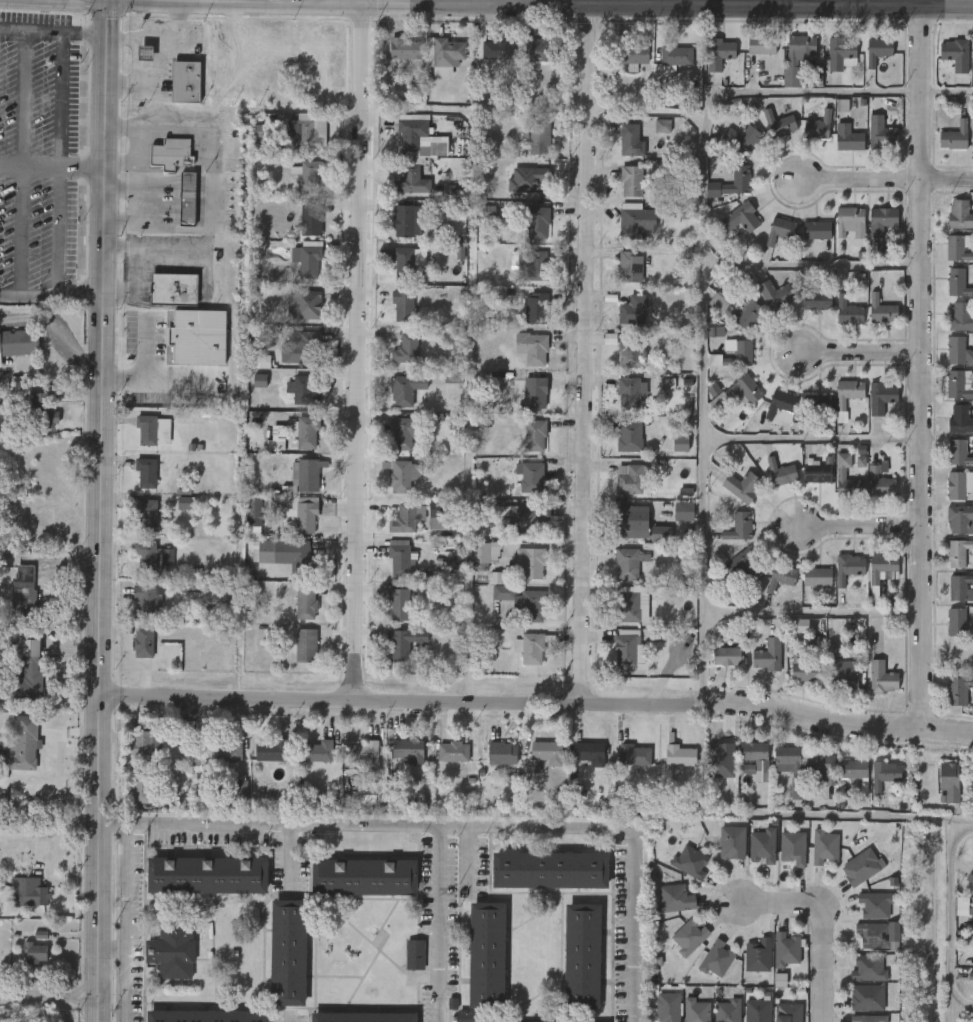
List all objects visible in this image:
road: (270, 1)
road: (322, 2)
road: (480, 2)
road: (791, 3)
road: (832, 3)
road: (562, 5)
road: (53, 42)
building: (761, 45)
building: (403, 48)
building: (500, 50)
building: (878, 50)
building: (446, 51)
building: (541, 51)
building: (717, 52)
building: (840, 53)
building: (631, 54)
building: (675, 54)
building: (954, 54)
building: (751, 56)
building: (791, 59)
building: (395, 60)
building: (487, 61)
building: (527, 61)
building: (867, 61)
building: (135, 64)
building: (830, 64)
building: (709, 65)
building: (945, 65)
building: (434, 66)
building: (623, 67)
building: (788, 69)
building: (662, 72)
building: (187, 83)
building: (176, 93)
building: (779, 124)
building: (818, 126)
building: (972, 130)
building: (410, 131)
building: (539, 132)
building: (880, 133)
building: (769, 135)
building: (305, 136)
building: (955, 136)
building: (652, 137)
building: (808, 137)
building: (742, 140)
building: (251, 141)
building: (630, 141)
building: (848, 142)
building: (870, 144)
building: (401, 145)
building: (529, 145)
building: (944, 148)
building: (837, 149)
building: (731, 150)
building: (620, 154)
building: (172, 155)
road: (137, 158)
road: (47, 173)
building: (740, 174)
road: (12, 175)
road: (23, 175)
building: (307, 176)
building: (409, 176)
road: (76, 178)
road: (212, 179)
road: (861, 179)
road: (948, 179)
building: (630, 180)
building: (541, 182)
building: (301, 185)
road: (131, 188)
building: (728, 191)
building: (621, 192)
building: (402, 193)
building: (189, 200)
building: (702, 200)
building: (178, 209)
building: (959, 215)
building: (741, 218)
building: (848, 218)
building: (310, 219)
building: (405, 220)
building: (881, 220)
building: (537, 222)
building: (478, 223)
building: (635, 223)
building: (952, 226)
building: (730, 229)
building: (301, 230)
building: (780, 230)
building: (815, 230)
building: (871, 231)
building: (397, 232)
building: (528, 232)
building: (839, 232)
building: (447, 234)
building: (770, 241)
building: (806, 241)
building: (957, 248)
building: (948, 259)
building: (305, 260)
building: (406, 261)
building: (375, 264)
building: (532, 264)
road: (813, 265)
building: (629, 266)
road: (701, 269)
building: (397, 273)
building: (523, 275)
building: (619, 277)
building: (958, 283)
building: (171, 290)
building: (948, 294)
building: (774, 296)
building: (816, 300)
building: (302, 304)
road: (51, 305)
building: (402, 305)
building: (764, 306)
building: (536, 308)
building: (631, 310)
building: (736, 310)
building: (881, 310)
building: (848, 311)
building: (806, 312)
building: (294, 316)
building: (393, 316)
building: (960, 316)
building: (525, 319)
building: (871, 321)
building: (621, 322)
building: (727, 322)
building: (838, 323)
building: (953, 329)
building: (16, 344)
building: (300, 348)
building: (531, 348)
building: (405, 349)
road: (361, 350)
building: (956, 350)
building: (629, 351)
building: (732, 354)
road: (864, 355)
road: (590, 356)
building: (395, 360)
building: (524, 361)
building: (619, 363)
building: (951, 363)
building: (724, 366)
road: (926, 367)
building: (959, 384)
building: (300, 390)
building: (404, 390)
building: (249, 391)
building: (627, 392)
building: (847, 392)
building: (533, 393)
building: (738, 393)
building: (656, 394)
building: (880, 397)
building: (294, 400)
building: (395, 400)
building: (837, 402)
building: (727, 403)
building: (817, 403)
building: (781, 404)
building: (618, 405)
building: (40, 408)
building: (870, 408)
building: (806, 412)
building: (770, 414)
building: (960, 419)
building: (34, 422)
building: (830, 427)
building: (145, 430)
building: (952, 431)
building: (400, 432)
building: (306, 433)
building: (533, 436)
building: (629, 437)
road: (814, 438)
building: (263, 443)
building: (293, 443)
building: (392, 444)
building: (524, 446)
building: (619, 447)
building: (958, 453)
building: (669, 454)
building: (949, 464)
building: (849, 472)
building: (144, 473)
building: (780, 473)
building: (816, 473)
building: (840, 474)
building: (306, 475)
building: (400, 475)
building: (532, 478)
building: (628, 479)
building: (136, 483)
building: (770, 483)
building: (806, 484)
building: (830, 484)
building: (880, 484)
building: (957, 484)
building: (520, 487)
building: (742, 487)
building: (620, 489)
building: (870, 494)
building: (732, 497)
road: (99, 510)
building: (682, 511)
building: (173, 513)
building: (301, 513)
building: (144, 514)
building: (440, 514)
building: (405, 518)
building: (959, 518)
building: (525, 521)
building: (673, 521)
building: (293, 523)
building: (137, 524)
building: (428, 525)
building: (638, 525)
building: (738, 526)
road: (862, 526)
building: (243, 527)
building: (729, 538)
building: (650, 544)
building: (265, 551)
building: (958, 552)
building: (483, 554)
building: (152, 556)
building: (299, 560)
building: (398, 560)
building: (530, 562)
building: (948, 563)
building: (628, 564)
building: (744, 564)
building: (475, 565)
building: (142, 567)
building: (847, 567)
building: (881, 567)
building: (390, 569)
building: (520, 573)
building: (731, 575)
building: (781, 577)
building: (816, 577)
building: (838, 578)
building: (873, 578)
building: (806, 587)
building: (961, 587)
building: (490, 588)
building: (770, 588)
building: (503, 592)
building: (23, 593)
building: (149, 596)
building: (951, 598)
building: (303, 603)
building: (398, 603)
building: (14, 604)
building: (628, 606)
building: (138, 607)
building: (530, 607)
building: (512, 611)
road: (813, 611)
building: (295, 615)
building: (389, 615)
building: (202, 616)
building: (620, 617)
building: (956, 622)
building: (945, 632)
building: (141, 642)
building: (398, 645)
building: (305, 646)
building: (531, 647)
building: (626, 647)
building: (133, 653)
building: (959, 654)
building: (768, 655)
building: (295, 656)
building: (726, 657)
building: (520, 659)
building: (795, 660)
building: (824, 660)
building: (758, 666)
building: (716, 667)
building: (26, 671)
building: (844, 674)
building: (881, 678)
building: (794, 682)
building: (834, 685)
building: (871, 688)
building: (959, 690)
building: (948, 701)
road: (535, 704)
building: (3, 743)
building: (23, 744)
building: (143, 748)
building: (407, 749)
building: (224, 750)
building: (316, 750)
building: (271, 751)
building: (362, 751)
building: (451, 751)
building: (546, 751)
building: (501, 752)
building: (588, 752)
building: (678, 753)
building: (633, 754)
building: (131, 757)
building: (756, 757)
building: (398, 761)
building: (307, 762)
building: (443, 762)
building: (262, 763)
building: (537, 763)
building: (216, 764)
building: (492, 764)
building: (579, 764)
building: (354, 766)
building: (622, 766)
building: (669, 766)
building: (820, 767)
building: (791, 768)
building: (745, 769)
building: (855, 773)
building: (883, 773)
building: (780, 777)
building: (735, 779)
building: (811, 779)
building: (842, 779)
building: (949, 781)
building: (874, 785)
building: (144, 786)
building: (238, 789)
building: (939, 792)
building: (847, 794)
building: (968, 797)
building: (228, 799)
building: (129, 801)
road: (863, 814)
road: (454, 828)
building: (731, 841)
building: (763, 845)
building: (824, 846)
building: (794, 847)
building: (721, 853)
building: (752, 856)
building: (813, 857)
building: (782, 858)
road: (289, 859)
building: (690, 862)
building: (863, 868)
building: (548, 869)
building: (679, 872)
building: (204, 874)
building: (361, 875)
building: (969, 876)
building: (965, 889)
building: (28, 895)
building: (674, 898)
building: (878, 905)
building: (964, 907)
building: (664, 909)
building: (865, 915)
road: (948, 915)
building: (951, 916)
road: (824, 918)
road: (121, 923)
road: (441, 925)
building: (972, 926)
building: (689, 936)
building: (876, 936)
building: (863, 945)
building: (678, 947)
building: (788, 950)
building: (170, 951)
building: (32, 952)
building: (286, 952)
building: (415, 954)
building: (485, 954)
building: (580, 956)
building: (760, 956)
building: (719, 960)
building: (775, 960)
building: (25, 962)
building: (967, 962)
building: (405, 965)
building: (747, 966)
building: (868, 968)
building: (706, 969)
building: (972, 977)
building: (858, 979)
building: (967, 990)
building: (867, 997)
road: (48, 1003)
building: (668, 1007)
building: (696, 1010)
building: (757, 1010)
building: (726, 1011)
building: (788, 1012)
building: (204, 1015)
building: (471, 1015)
building: (360, 1017)
building: (868, 1018)
road: (286, 1019)

